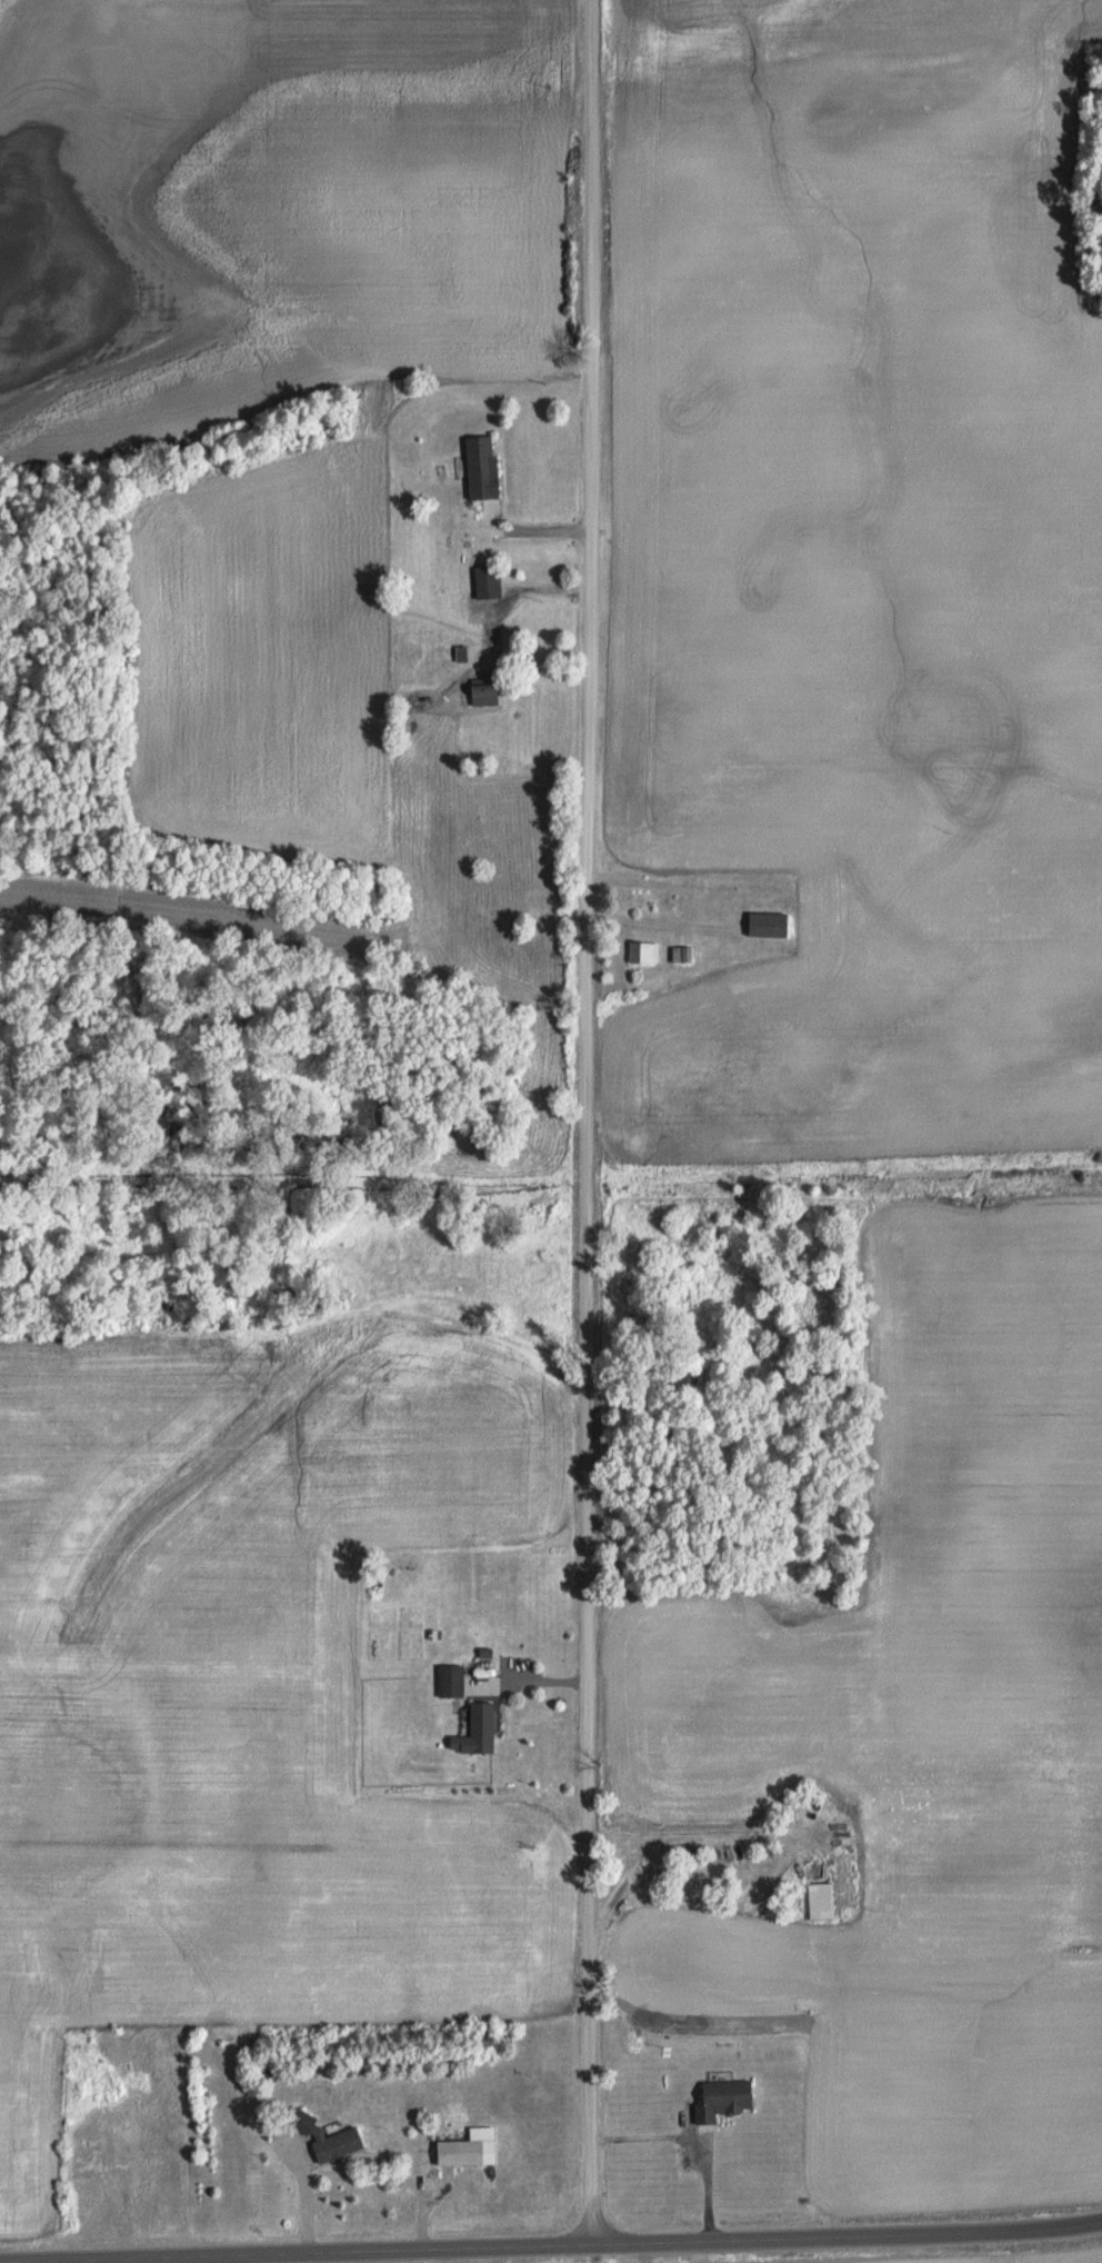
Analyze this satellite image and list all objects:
building: (479, 467)
building: (485, 581)
building: (481, 694)
building: (764, 924)
building: (642, 951)
road: (589, 1123)
building: (449, 1679)
building: (474, 1729)
building: (687, 1851)
building: (819, 1901)
building: (720, 2097)
building: (322, 2134)
road: (848, 2240)
road: (362, 2254)

